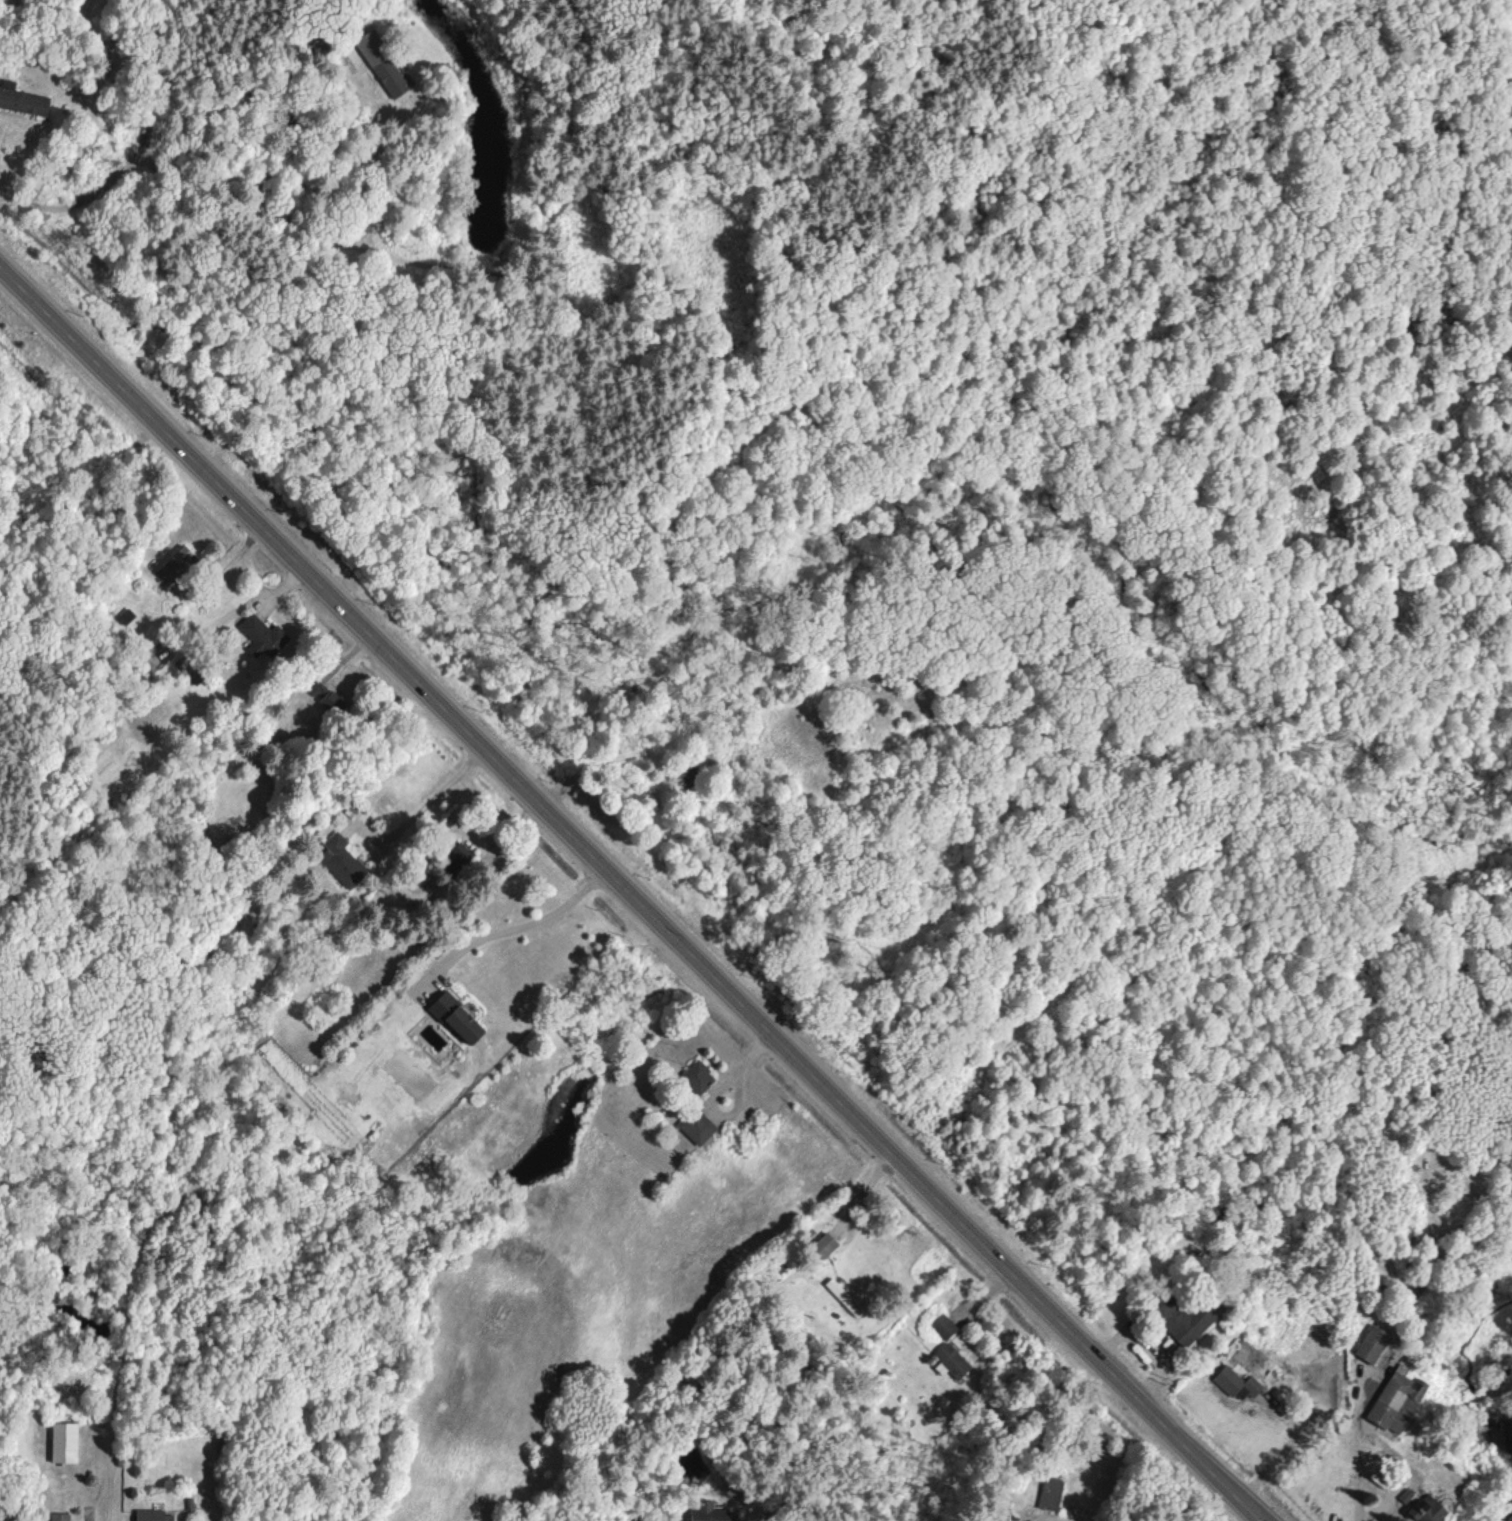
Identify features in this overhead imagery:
building: (381, 63)
building: (21, 99)
building: (177, 564)
building: (125, 616)
building: (262, 638)
building: (324, 696)
road: (425, 805)
building: (457, 855)
building: (341, 860)
road: (632, 892)
road: (513, 929)
building: (455, 1018)
building: (696, 1077)
building: (695, 1126)
building: (823, 1245)
building: (1181, 1318)
building: (942, 1325)
building: (1371, 1342)
building: (951, 1359)
building: (1236, 1382)
building: (1396, 1398)
building: (63, 1442)
building: (1050, 1492)
building: (1426, 1509)
building: (707, 1511)
building: (1002, 1511)
building: (151, 1515)
building: (59, 1516)

